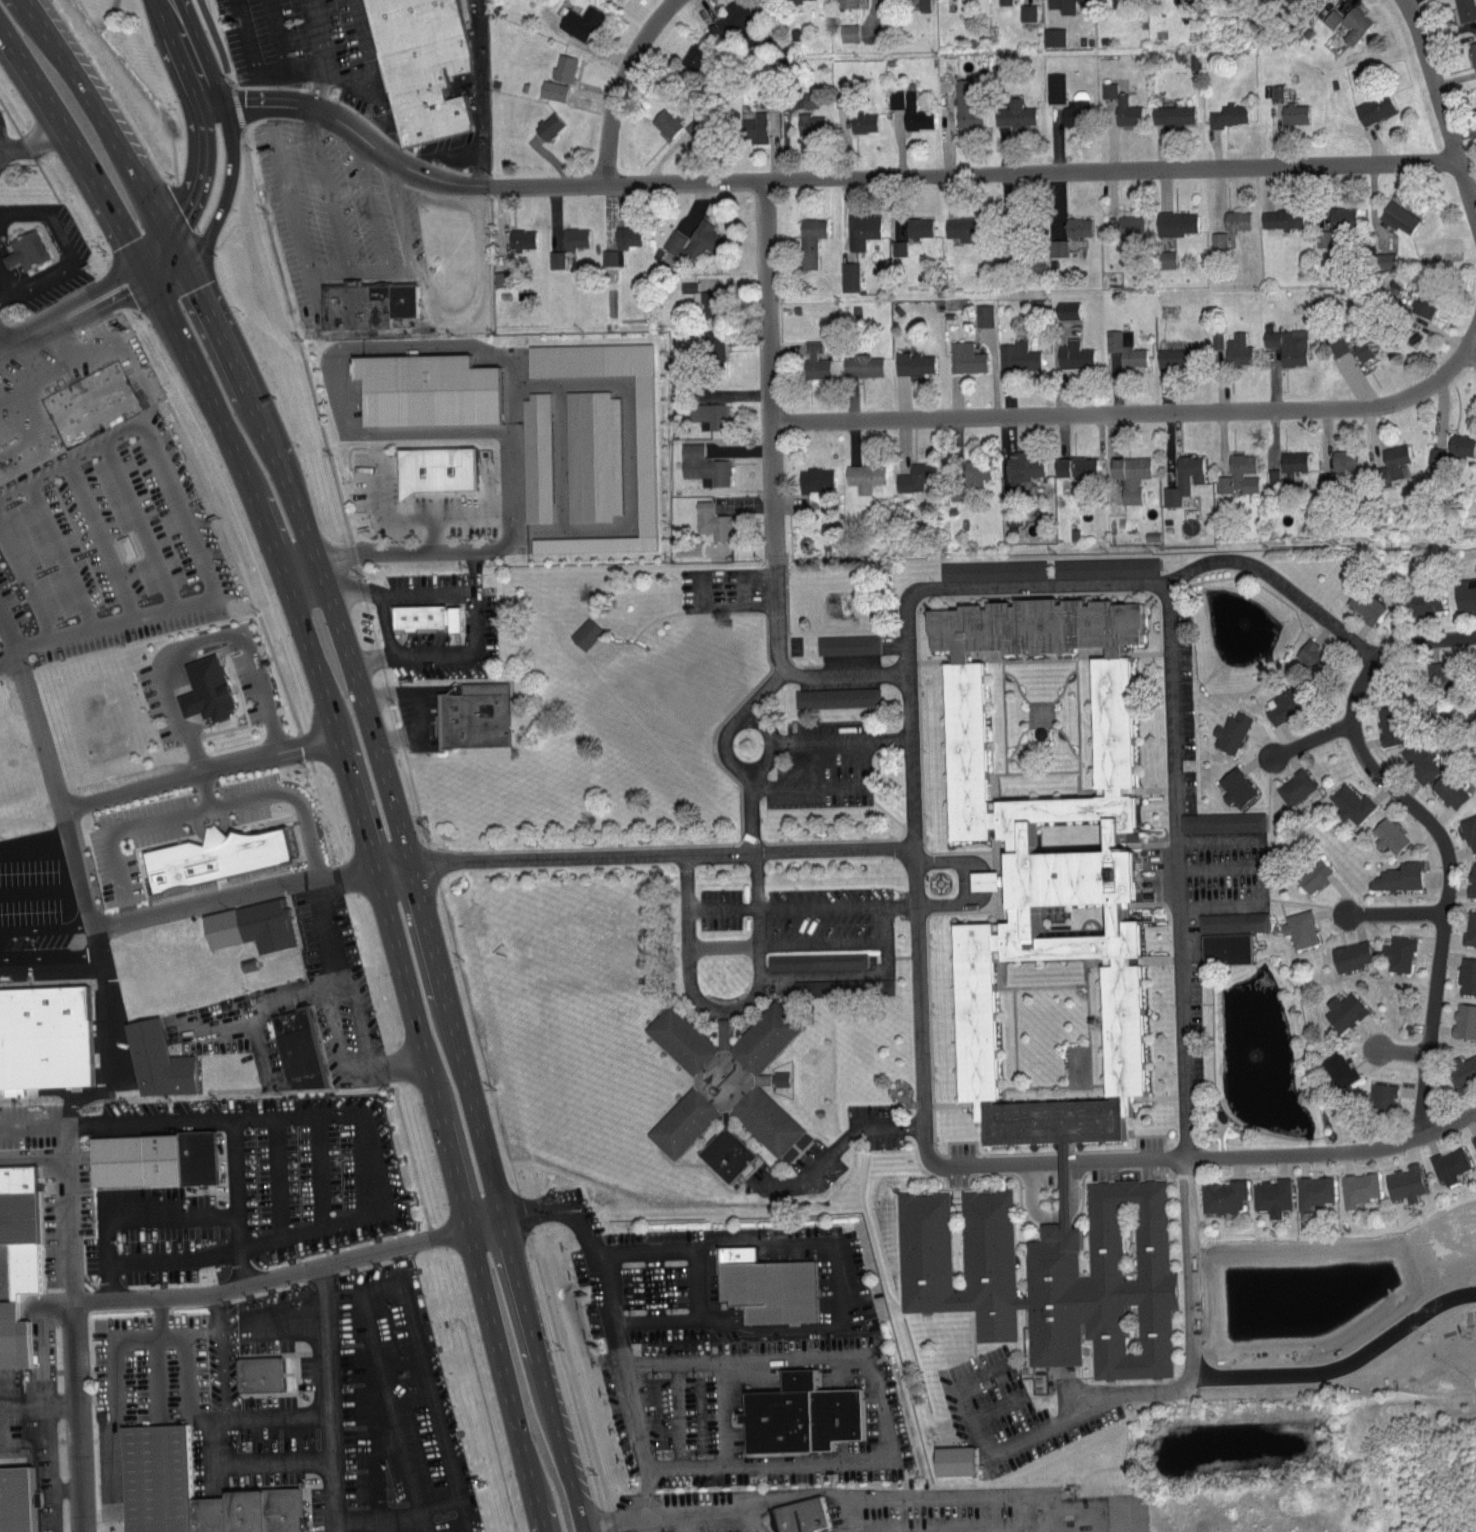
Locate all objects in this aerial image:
building: (1004, 1)
building: (850, 3)
building: (922, 3)
building: (1062, 5)
road: (166, 7)
road: (175, 7)
building: (1465, 9)
building: (1027, 11)
building: (735, 16)
building: (579, 20)
building: (1349, 22)
building: (848, 31)
road: (318, 34)
building: (750, 34)
road: (278, 35)
building: (1052, 35)
road: (249, 39)
building: (1472, 51)
building: (692, 54)
building: (424, 66)
building: (563, 66)
road: (313, 67)
road: (1433, 78)
road: (624, 85)
road: (377, 86)
building: (1054, 86)
building: (552, 89)
building: (1276, 91)
road: (484, 93)
building: (808, 98)
building: (966, 101)
building: (1121, 104)
building: (1373, 107)
building: (909, 108)
building: (1075, 108)
road: (271, 109)
building: (1293, 112)
building: (1013, 113)
building: (1171, 113)
building: (1227, 114)
building: (664, 120)
building: (862, 120)
road: (102, 122)
building: (808, 122)
building: (547, 124)
building: (753, 126)
road: (216, 133)
road: (31, 140)
road: (77, 148)
road: (30, 150)
road: (444, 151)
road: (19, 165)
road: (245, 177)
road: (823, 180)
road: (1467, 186)
road: (328, 188)
road: (370, 202)
road: (25, 212)
building: (1340, 215)
building: (1397, 216)
building: (1281, 217)
building: (1235, 219)
road: (298, 222)
building: (1174, 222)
road: (401, 223)
building: (1130, 224)
building: (1077, 226)
building: (917, 227)
building: (860, 228)
building: (959, 228)
building: (573, 236)
building: (625, 236)
building: (521, 237)
building: (1322, 237)
road: (62, 238)
building: (1217, 239)
building: (809, 240)
building: (689, 241)
building: (1057, 246)
building: (897, 247)
traffic signals: (175, 248)
building: (30, 252)
building: (610, 256)
building: (555, 258)
building: (1164, 258)
building: (1384, 259)
road: (18, 260)
road: (161, 260)
road: (12, 265)
road: (367, 268)
traffic signals: (147, 272)
road: (142, 275)
building: (848, 275)
road: (8, 279)
road: (45, 279)
road: (478, 284)
road: (89, 291)
building: (699, 296)
road: (8, 297)
building: (1423, 303)
building: (371, 304)
road: (99, 306)
building: (1067, 309)
building: (983, 314)
road: (26, 336)
road: (2, 340)
building: (711, 344)
building: (1287, 344)
building: (1336, 345)
building: (1236, 347)
building: (1125, 348)
building: (1362, 348)
road: (1473, 351)
building: (1073, 354)
building: (1017, 355)
building: (965, 357)
building: (1171, 357)
building: (814, 361)
building: (914, 362)
building: (862, 364)
building: (423, 388)
building: (708, 413)
road: (1137, 414)
building: (1460, 444)
building: (1432, 454)
building: (592, 455)
building: (643, 455)
building: (536, 457)
road: (772, 459)
building: (1344, 460)
building: (1291, 462)
building: (702, 463)
building: (1392, 463)
parking lot: (94, 465)
building: (1073, 465)
building: (434, 467)
building: (1021, 469)
building: (1129, 474)
building: (1239, 474)
building: (864, 476)
building: (970, 476)
building: (913, 477)
building: (1183, 478)
building: (814, 480)
road: (377, 483)
road: (257, 509)
road: (508, 511)
road: (457, 513)
road: (411, 518)
building: (711, 520)
road: (188, 532)
road: (310, 549)
building: (1105, 566)
building: (991, 569)
road: (299, 570)
road: (1044, 588)
building: (1465, 595)
building: (1421, 600)
building: (1364, 603)
road: (381, 609)
road: (474, 613)
building: (429, 618)
building: (584, 633)
road: (181, 643)
building: (846, 644)
road: (4, 649)
building: (1309, 655)
building: (1437, 671)
road: (847, 675)
building: (203, 688)
building: (836, 697)
road: (1172, 699)
building: (1281, 704)
building: (471, 715)
road: (912, 718)
building: (1387, 724)
building: (1229, 731)
road: (272, 732)
road: (842, 738)
road: (1313, 741)
building: (1418, 760)
road: (198, 769)
road: (753, 772)
road: (828, 784)
building: (1236, 786)
building: (1294, 786)
road: (204, 787)
building: (1448, 789)
road: (213, 803)
building: (1349, 803)
road: (359, 812)
road: (748, 813)
building: (1222, 821)
building: (1469, 831)
road: (33, 833)
building: (1388, 834)
road: (803, 849)
building: (213, 855)
road: (949, 862)
building: (1042, 863)
building: (1312, 874)
road: (1448, 875)
building: (1398, 876)
building: (1471, 879)
road: (981, 880)
road: (950, 902)
road: (836, 904)
road: (1395, 912)
road: (94, 915)
road: (425, 921)
building: (1232, 921)
building: (249, 925)
road: (331, 927)
building: (1469, 927)
building: (1298, 928)
road: (839, 938)
building: (1224, 947)
building: (1397, 953)
building: (1349, 955)
building: (815, 960)
road: (63, 970)
building: (1466, 975)
building: (883, 986)
road: (268, 1000)
building: (1343, 1010)
road: (723, 1014)
road: (102, 1019)
building: (1464, 1019)
road: (356, 1020)
building: (44, 1035)
road: (336, 1035)
building: (297, 1048)
road: (1403, 1051)
building: (155, 1060)
road: (397, 1063)
building: (1336, 1068)
building: (1461, 1070)
building: (722, 1077)
building: (779, 1078)
road: (472, 1097)
building: (1381, 1097)
road: (322, 1112)
road: (855, 1127)
building: (1473, 1140)
building: (725, 1153)
road: (1335, 1154)
road: (31, 1156)
building: (151, 1158)
road: (232, 1163)
road: (1057, 1164)
building: (1449, 1165)
road: (321, 1168)
road: (277, 1175)
building: (1404, 1183)
road: (457, 1184)
building: (1357, 1188)
building: (1313, 1191)
building: (1222, 1196)
building: (1271, 1196)
road: (65, 1211)
road: (148, 1212)
road: (1053, 1214)
road: (171, 1255)
road: (696, 1274)
building: (1051, 1275)
building: (768, 1289)
road: (368, 1291)
road: (175, 1293)
road: (522, 1296)
road: (1192, 1315)
road: (228, 1317)
road: (615, 1324)
building: (13, 1335)
road: (1342, 1362)
building: (256, 1373)
road: (435, 1386)
road: (329, 1396)
road: (38, 1402)
road: (879, 1402)
road: (192, 1409)
building: (797, 1414)
road: (48, 1443)
road: (561, 1453)
building: (951, 1460)
road: (246, 1467)
building: (188, 1490)
road: (799, 1491)
road: (51, 1493)
road: (970, 1494)
building: (16, 1495)
road: (674, 1514)
building: (801, 1515)
road: (399, 1516)
road: (540, 1517)
road: (419, 1523)

